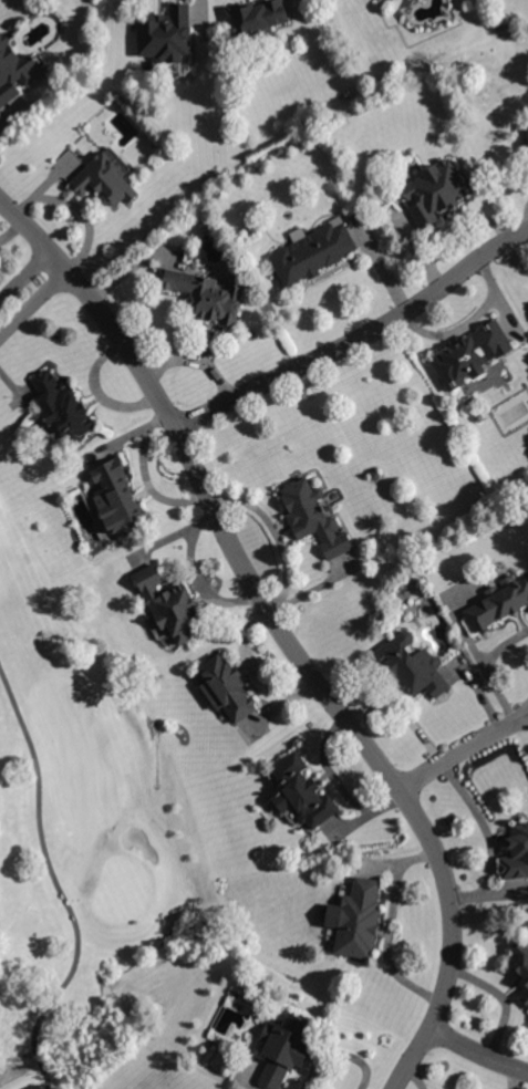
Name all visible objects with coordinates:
building: (260, 18)
building: (164, 35)
building: (13, 70)
building: (527, 129)
building: (525, 145)
building: (104, 183)
building: (436, 191)
road: (522, 217)
building: (313, 253)
road: (29, 291)
building: (205, 295)
road: (468, 320)
road: (359, 340)
building: (473, 355)
building: (64, 409)
building: (479, 418)
road: (144, 477)
building: (375, 477)
building: (118, 500)
building: (315, 518)
building: (499, 603)
building: (170, 605)
building: (429, 625)
road: (282, 631)
building: (413, 666)
park: (107, 680)
building: (227, 689)
road: (462, 750)
building: (302, 794)
building: (517, 854)
road: (58, 888)
building: (360, 921)
road: (386, 926)
building: (520, 962)
building: (525, 998)
road: (501, 999)
building: (284, 1049)
road: (478, 1051)

